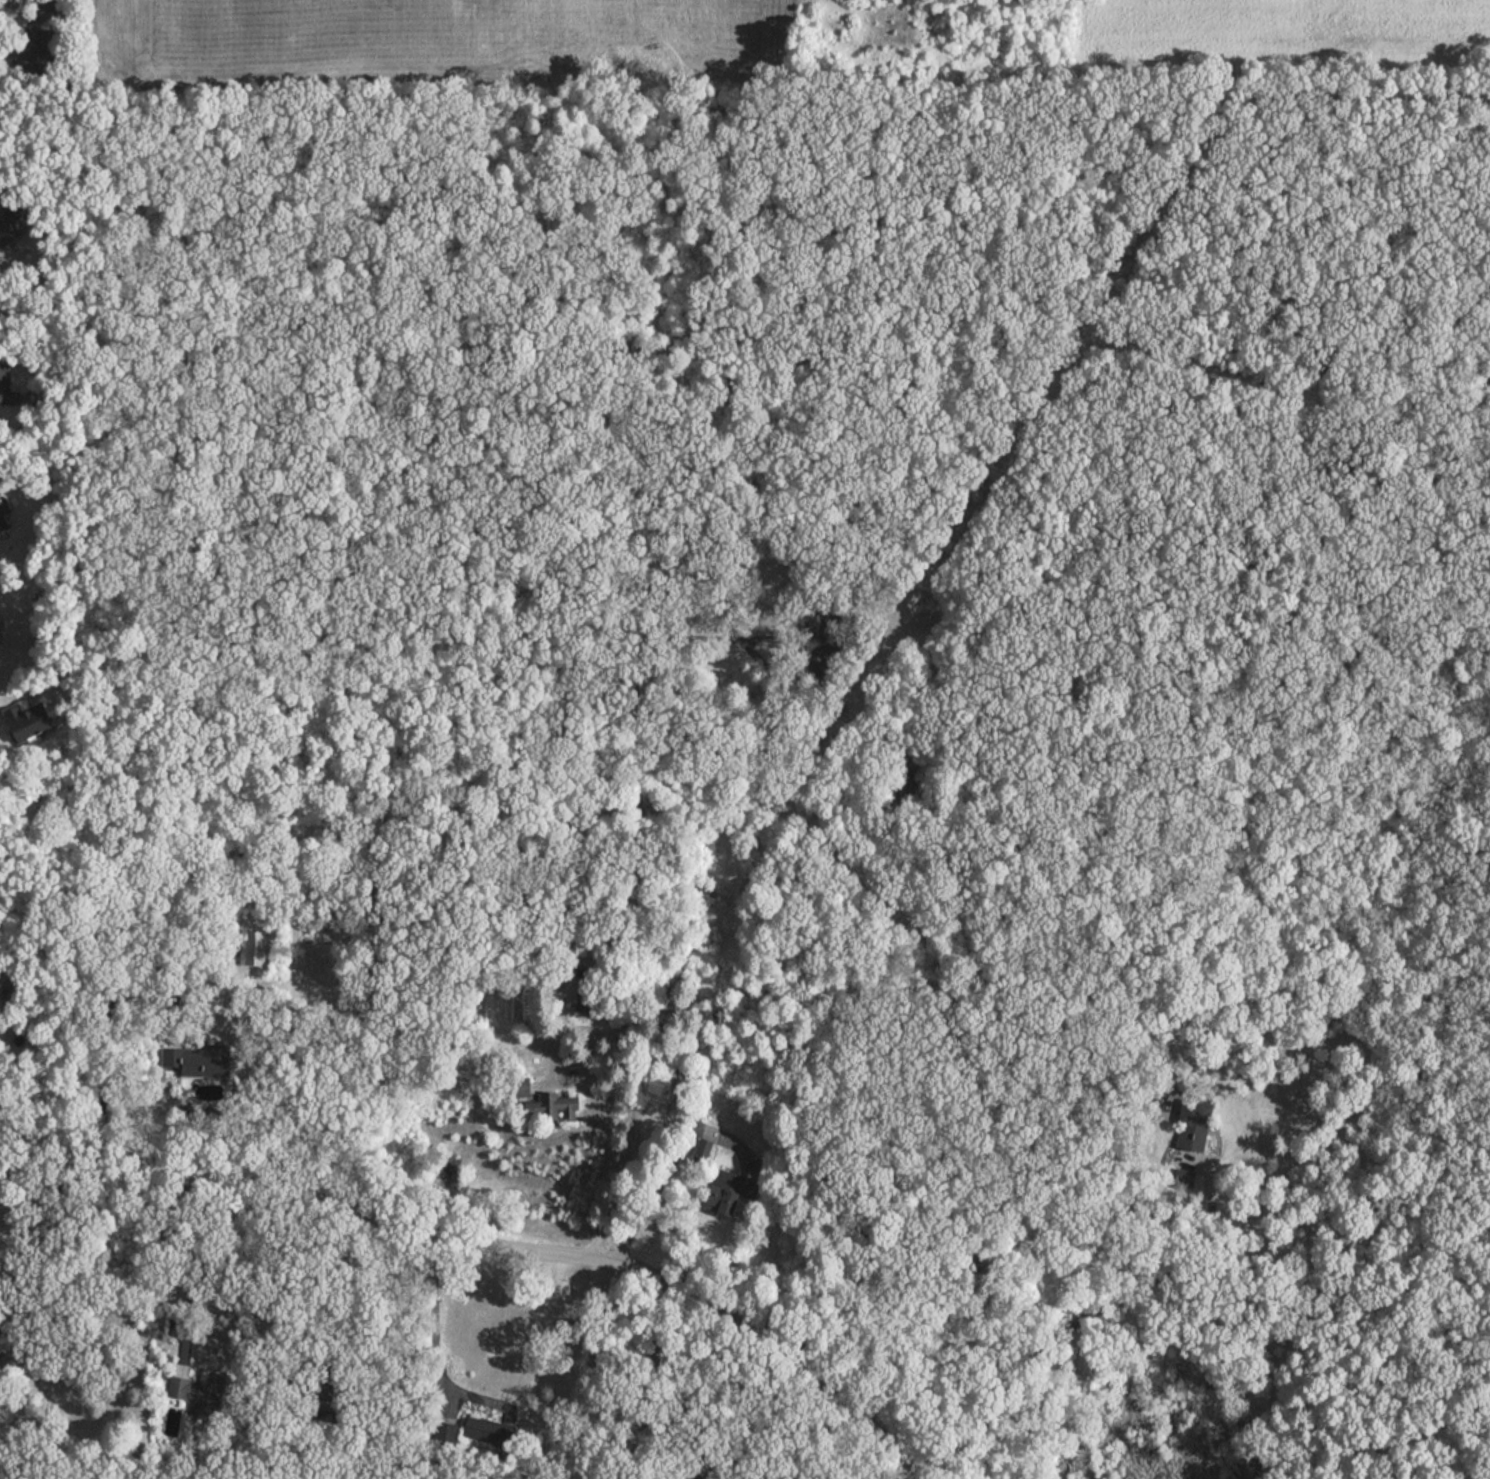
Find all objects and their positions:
road: (46, 6)
building: (46, 48)
building: (7, 223)
road: (8, 257)
building: (4, 384)
building: (2, 522)
building: (811, 633)
building: (29, 722)
road: (636, 884)
building: (583, 1002)
building: (199, 1063)
building: (521, 1087)
building: (557, 1106)
building: (1195, 1126)
road: (667, 1162)
building: (729, 1192)
road: (489, 1243)
road: (220, 1297)
road: (1079, 1323)
road: (437, 1336)
building: (175, 1387)
building: (326, 1400)
road: (688, 1400)
building: (476, 1430)

